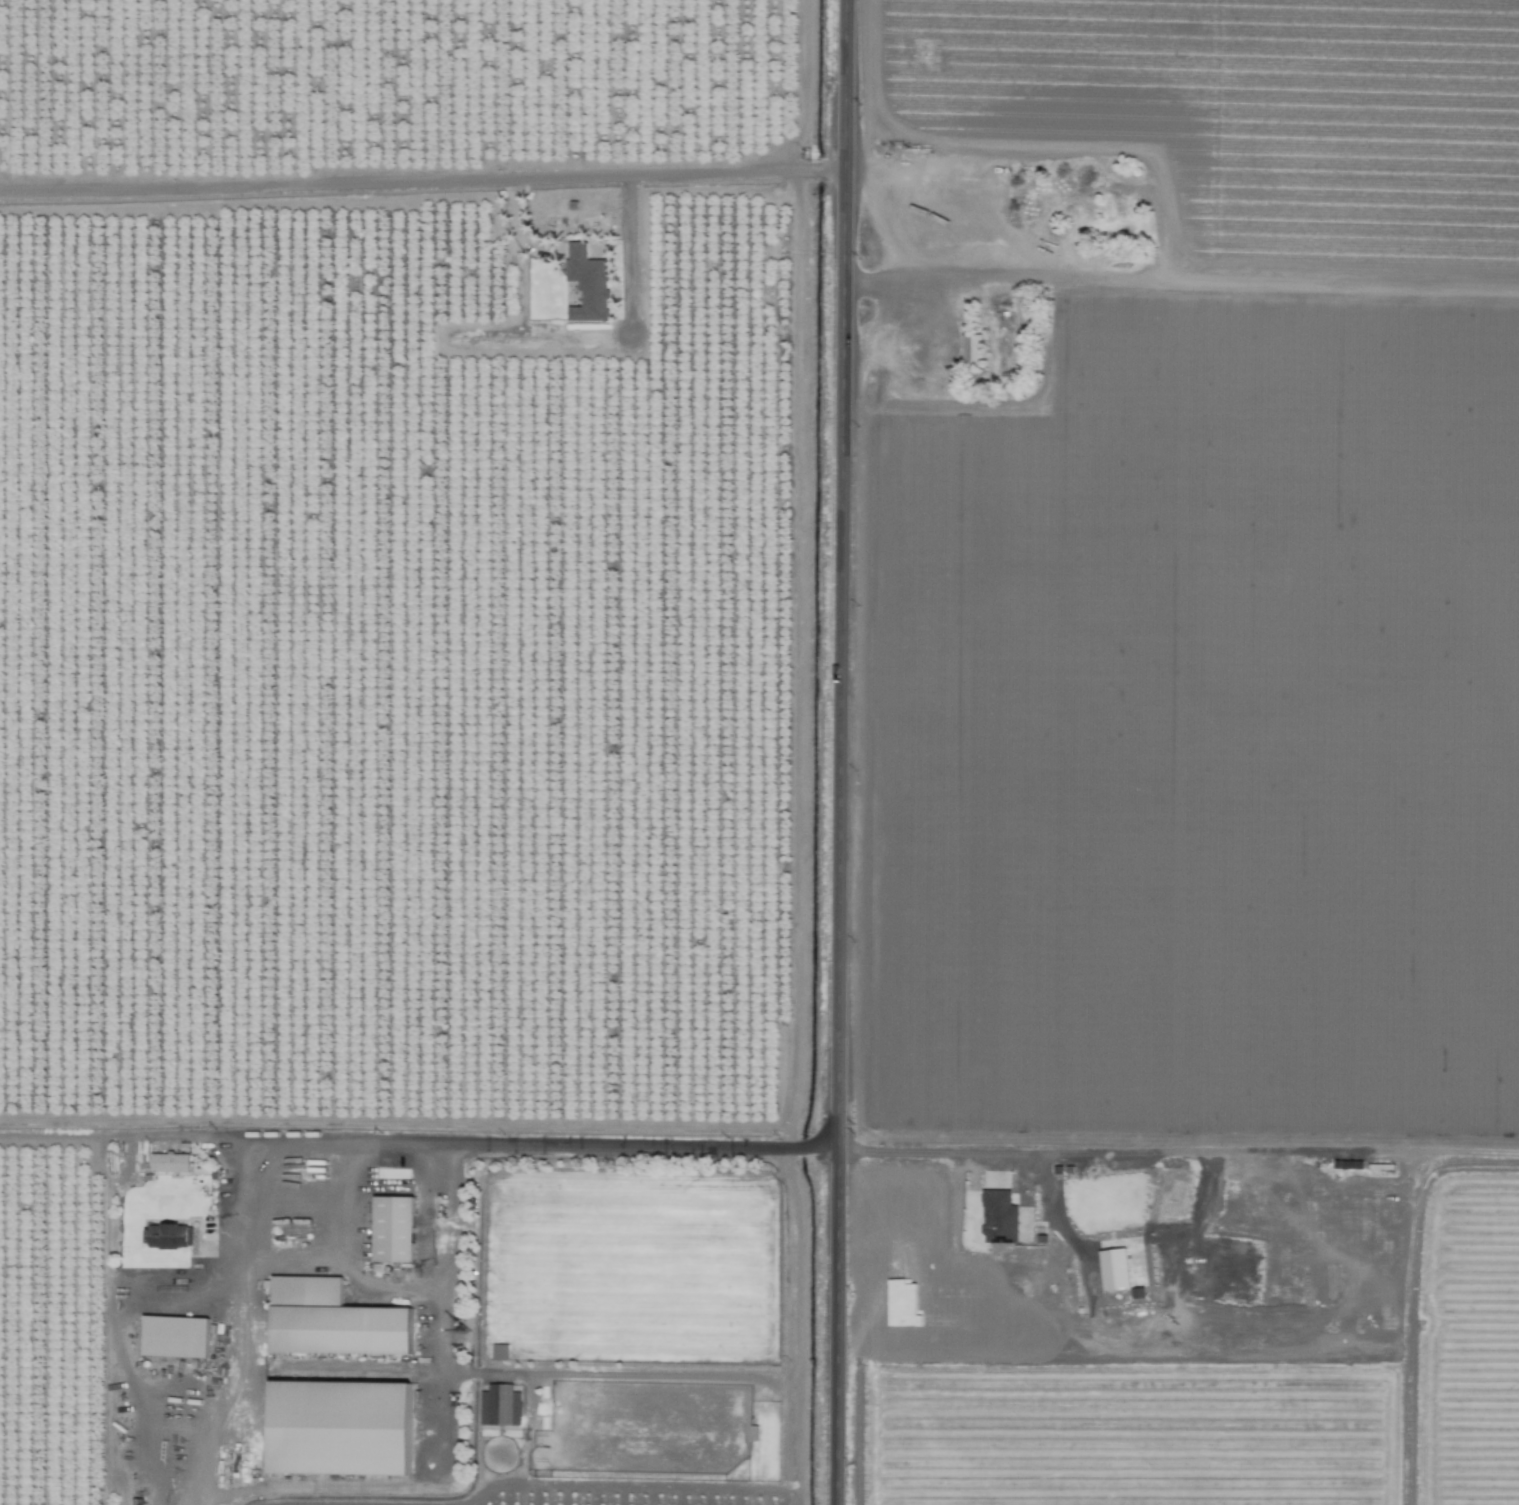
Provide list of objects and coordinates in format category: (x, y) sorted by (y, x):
road: (422, 180)
road: (517, 226)
road: (626, 254)
road: (1181, 281)
building: (586, 284)
building: (970, 349)
road: (839, 752)
road: (380, 1144)
road: (1177, 1150)
building: (169, 1162)
road: (344, 1209)
building: (998, 1217)
building: (392, 1228)
building: (168, 1236)
road: (338, 1266)
building: (332, 1320)
building: (174, 1336)
building: (498, 1351)
building: (499, 1405)
building: (338, 1427)
road: (441, 1429)
road: (214, 1481)

